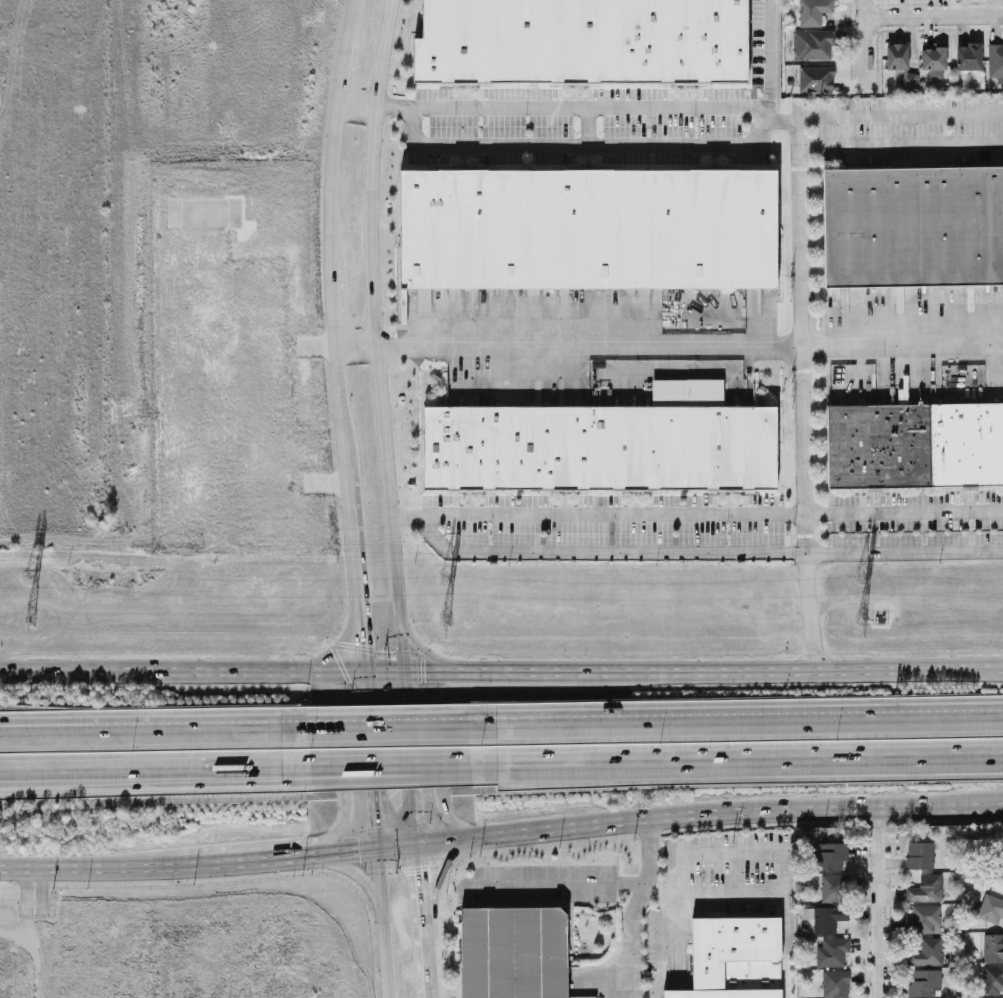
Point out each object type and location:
road: (860, 7)
building: (811, 11)
road: (931, 13)
road: (350, 17)
building: (582, 41)
building: (811, 45)
road: (862, 50)
building: (896, 56)
building: (967, 56)
building: (931, 57)
road: (767, 58)
building: (995, 60)
road: (341, 68)
building: (814, 78)
road: (354, 103)
road: (900, 124)
road: (331, 185)
road: (798, 185)
building: (913, 223)
building: (589, 225)
road: (332, 308)
road: (373, 335)
road: (354, 343)
road: (588, 344)
road: (903, 347)
building: (599, 445)
building: (915, 445)
road: (348, 508)
road: (696, 514)
power tower: (859, 576)
power tower: (29, 577)
power tower: (444, 577)
power tower: (860, 620)
power tower: (443, 621)
power tower: (31, 622)
traffic signals: (360, 644)
road: (421, 653)
road: (225, 671)
traffic signals: (423, 671)
road: (510, 671)
road: (786, 671)
traffic signals: (407, 692)
road: (749, 722)
road: (29, 726)
road: (387, 726)
road: (186, 727)
road: (29, 728)
road: (76, 728)
road: (341, 751)
road: (412, 758)
road: (748, 759)
road: (369, 760)
road: (461, 762)
road: (439, 763)
road: (353, 764)
road: (140, 768)
road: (353, 772)
road: (139, 786)
road: (978, 800)
road: (978, 804)
road: (642, 818)
traffic signals: (374, 826)
traffic signals: (359, 851)
building: (918, 855)
building: (831, 856)
road: (266, 857)
road: (780, 857)
road: (100, 868)
road: (357, 870)
road: (29, 872)
traffic signals: (421, 875)
road: (437, 880)
road: (561, 880)
building: (832, 888)
building: (924, 889)
road: (422, 893)
road: (41, 900)
road: (876, 902)
road: (30, 905)
road: (633, 907)
building: (990, 909)
building: (827, 918)
building: (924, 919)
road: (380, 924)
road: (660, 932)
road: (18, 945)
building: (992, 948)
building: (830, 952)
building: (926, 952)
road: (426, 953)
building: (511, 953)
building: (734, 958)
building: (992, 980)
road: (428, 982)
building: (922, 983)
building: (832, 984)

